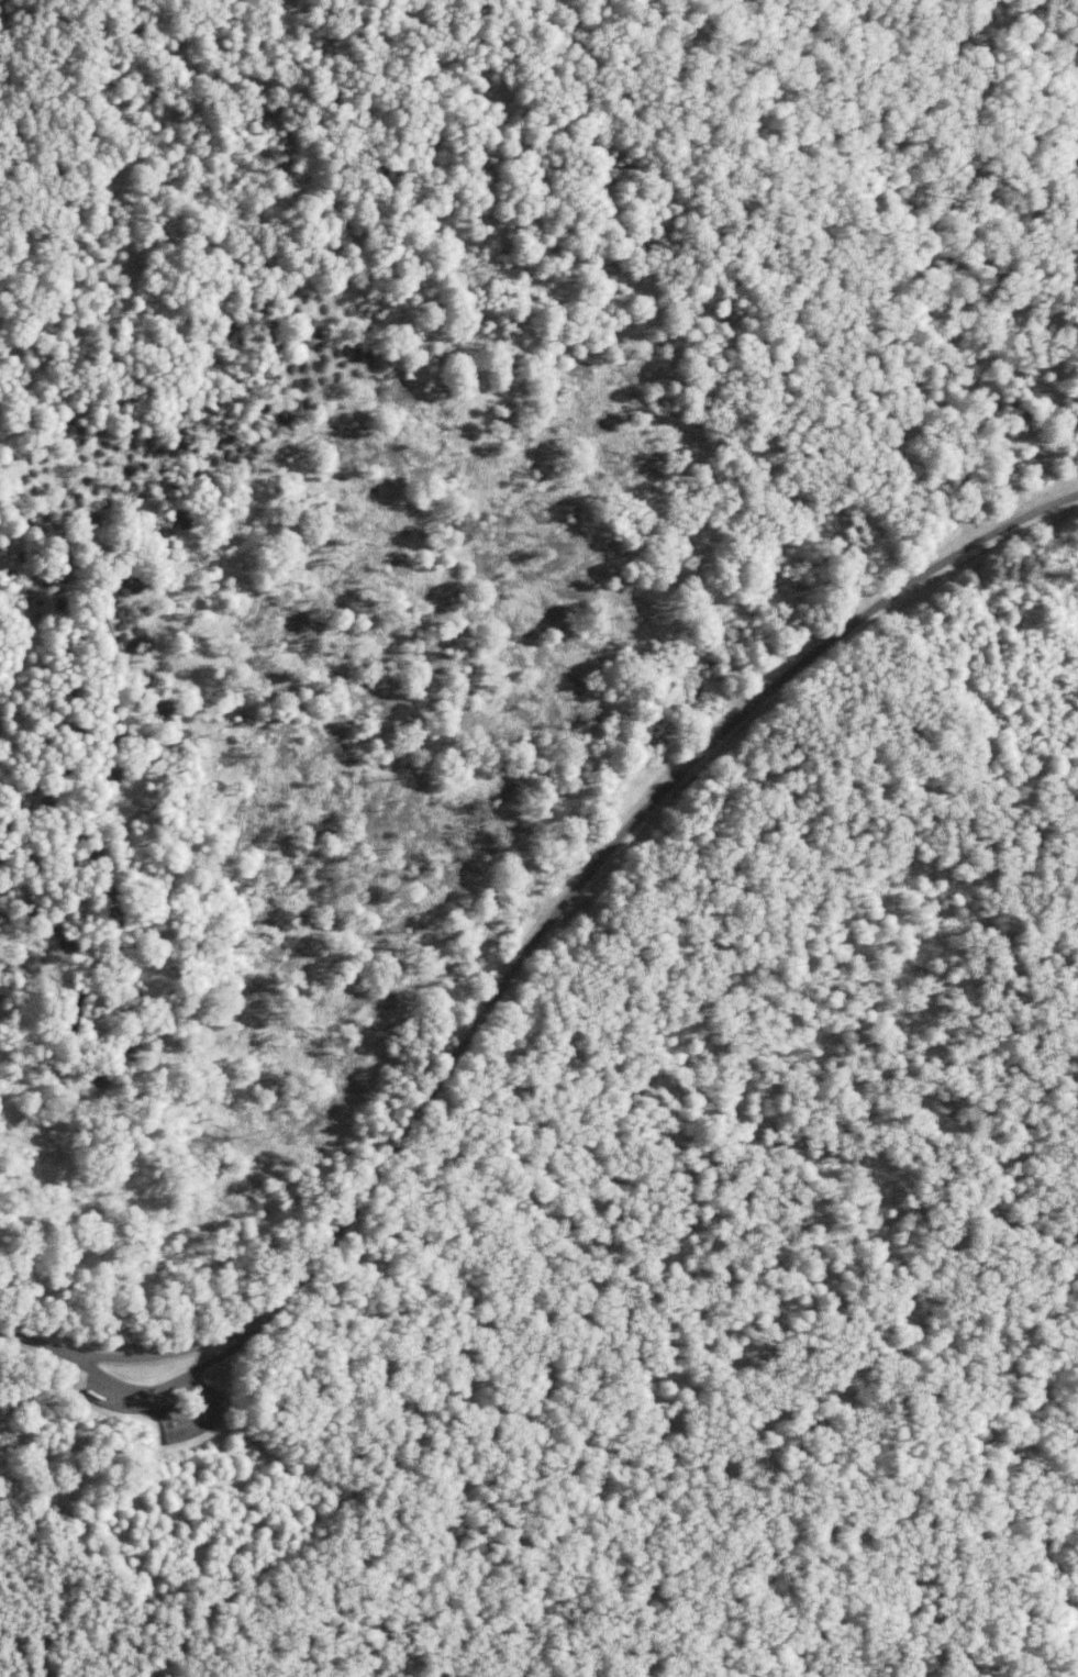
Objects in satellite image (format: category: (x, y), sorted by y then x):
road: (529, 967)
road: (180, 1396)
parking lot: (160, 1401)
road: (147, 1424)
road: (195, 1432)

